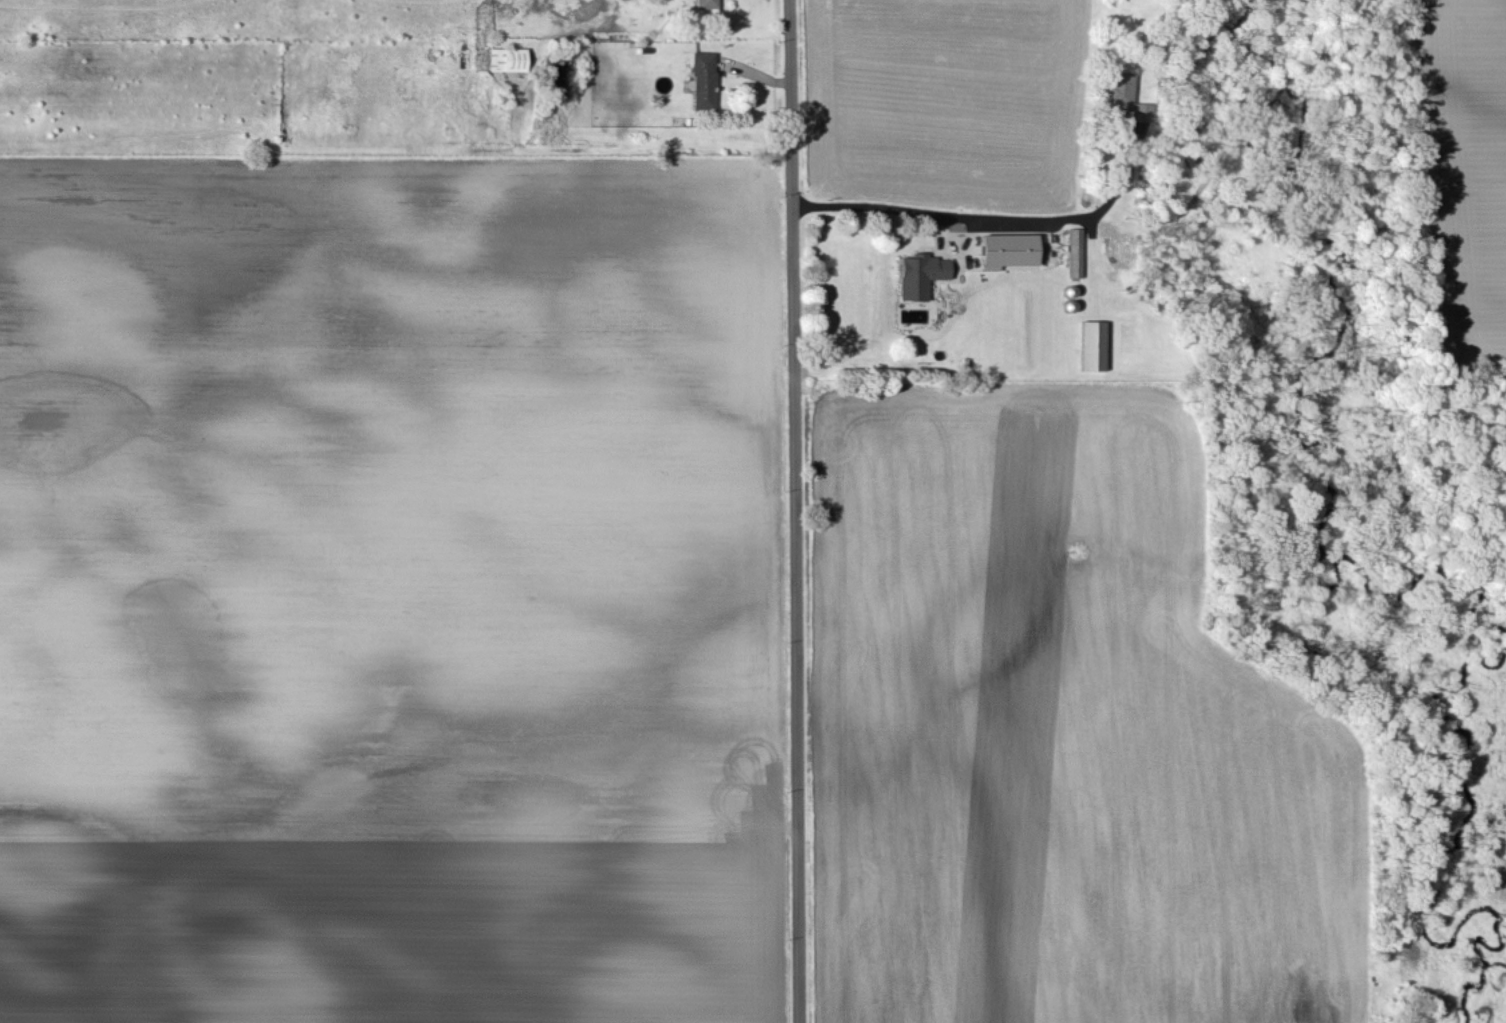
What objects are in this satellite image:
building: (706, 4)
building: (508, 61)
building: (703, 81)
building: (1125, 97)
road: (980, 214)
building: (1009, 252)
building: (1076, 254)
building: (921, 277)
building: (1094, 347)
road: (791, 511)

